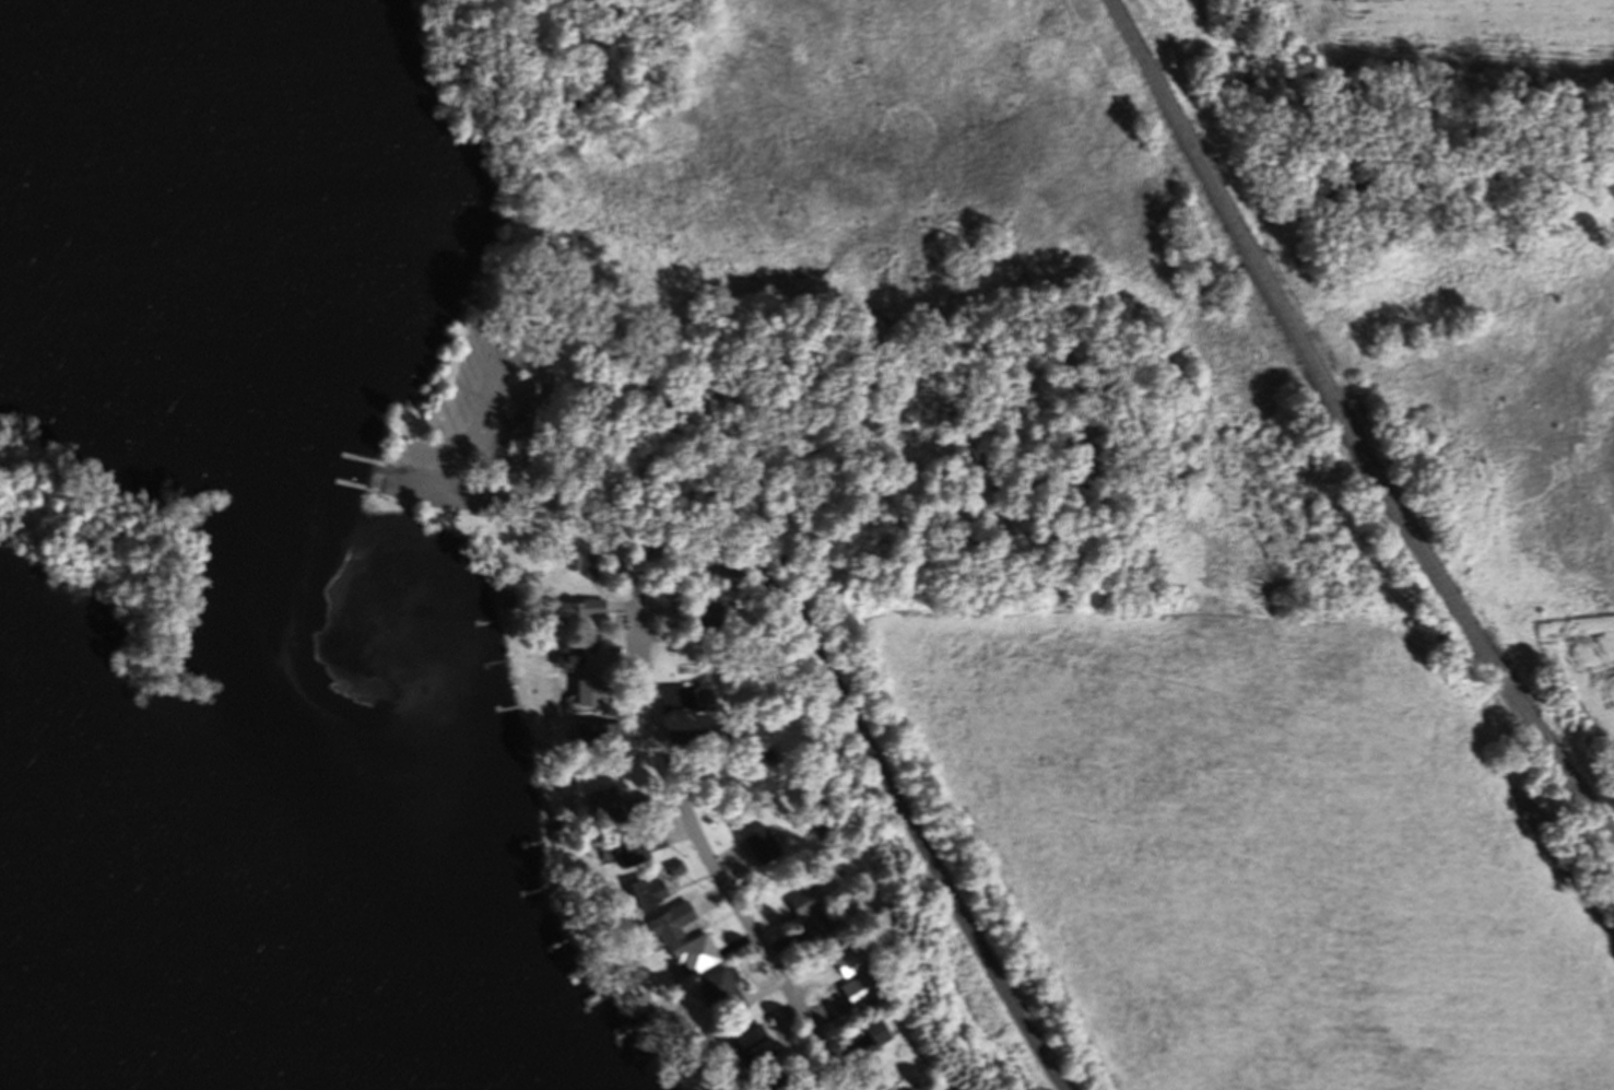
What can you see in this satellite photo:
railway: (1345, 429)
building: (506, 471)
building: (591, 570)
building: (575, 612)
building: (699, 614)
building: (567, 660)
building: (585, 696)
building: (699, 704)
building: (594, 738)
building: (600, 804)
building: (758, 849)
building: (634, 853)
road: (715, 869)
building: (671, 872)
building: (641, 896)
building: (800, 907)
building: (664, 928)
building: (812, 930)
building: (692, 959)
building: (839, 968)
building: (719, 995)
building: (851, 996)
building: (870, 1038)
building: (746, 1052)

